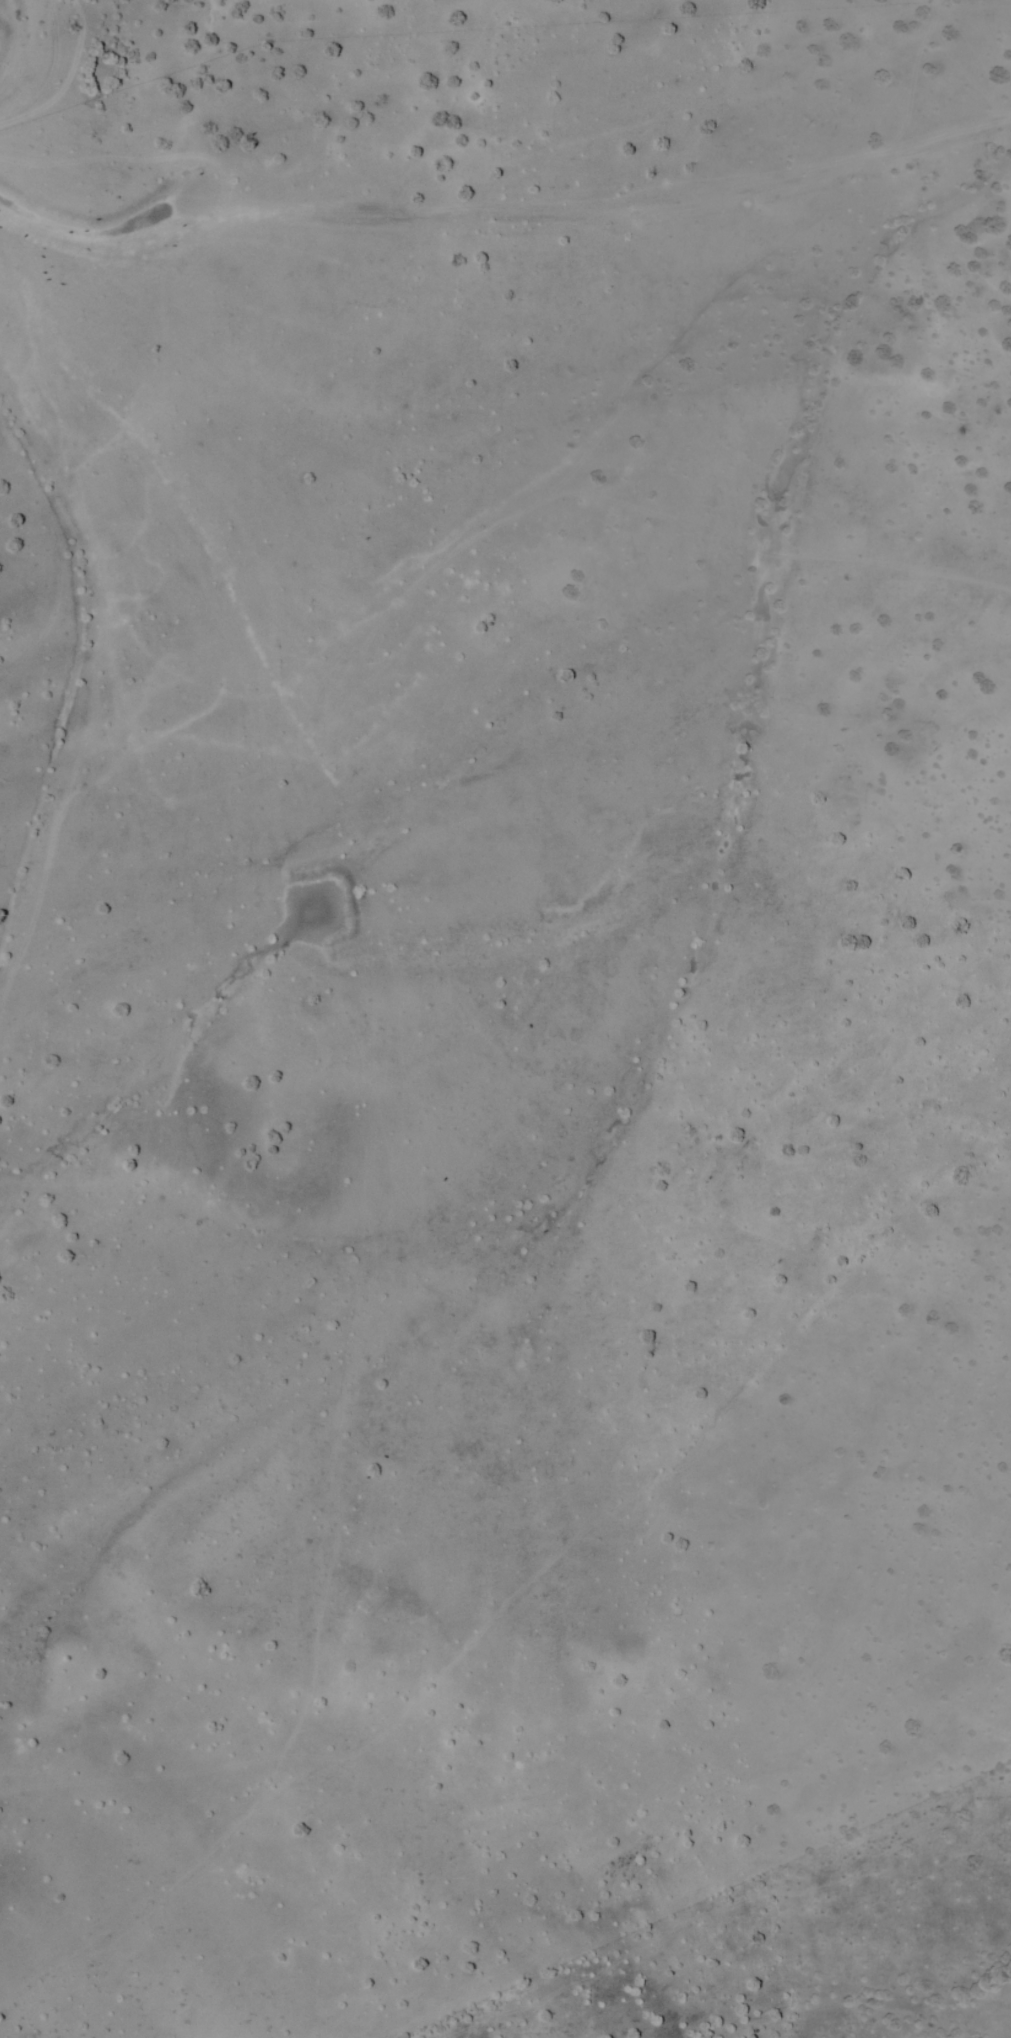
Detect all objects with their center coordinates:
road: (510, 189)
road: (654, 1882)

